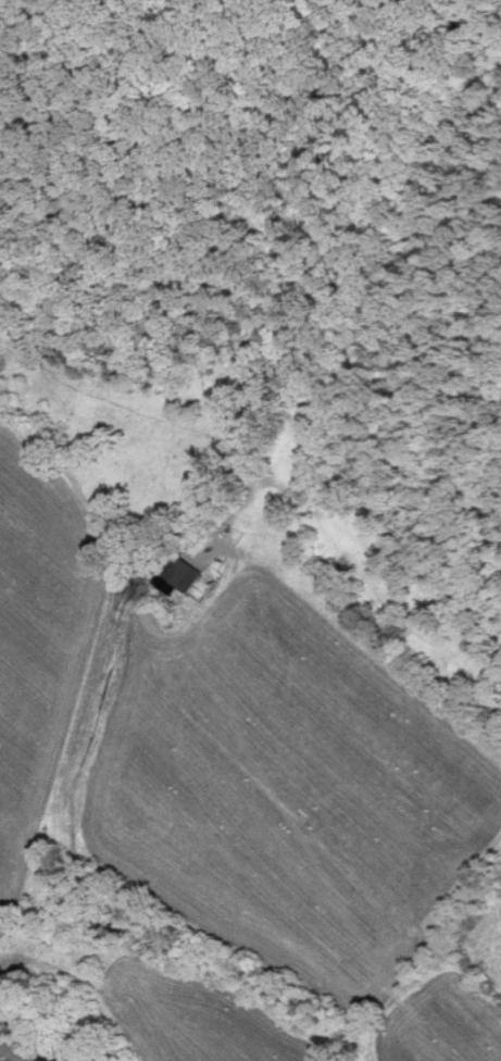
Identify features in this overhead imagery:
building: (190, 575)

